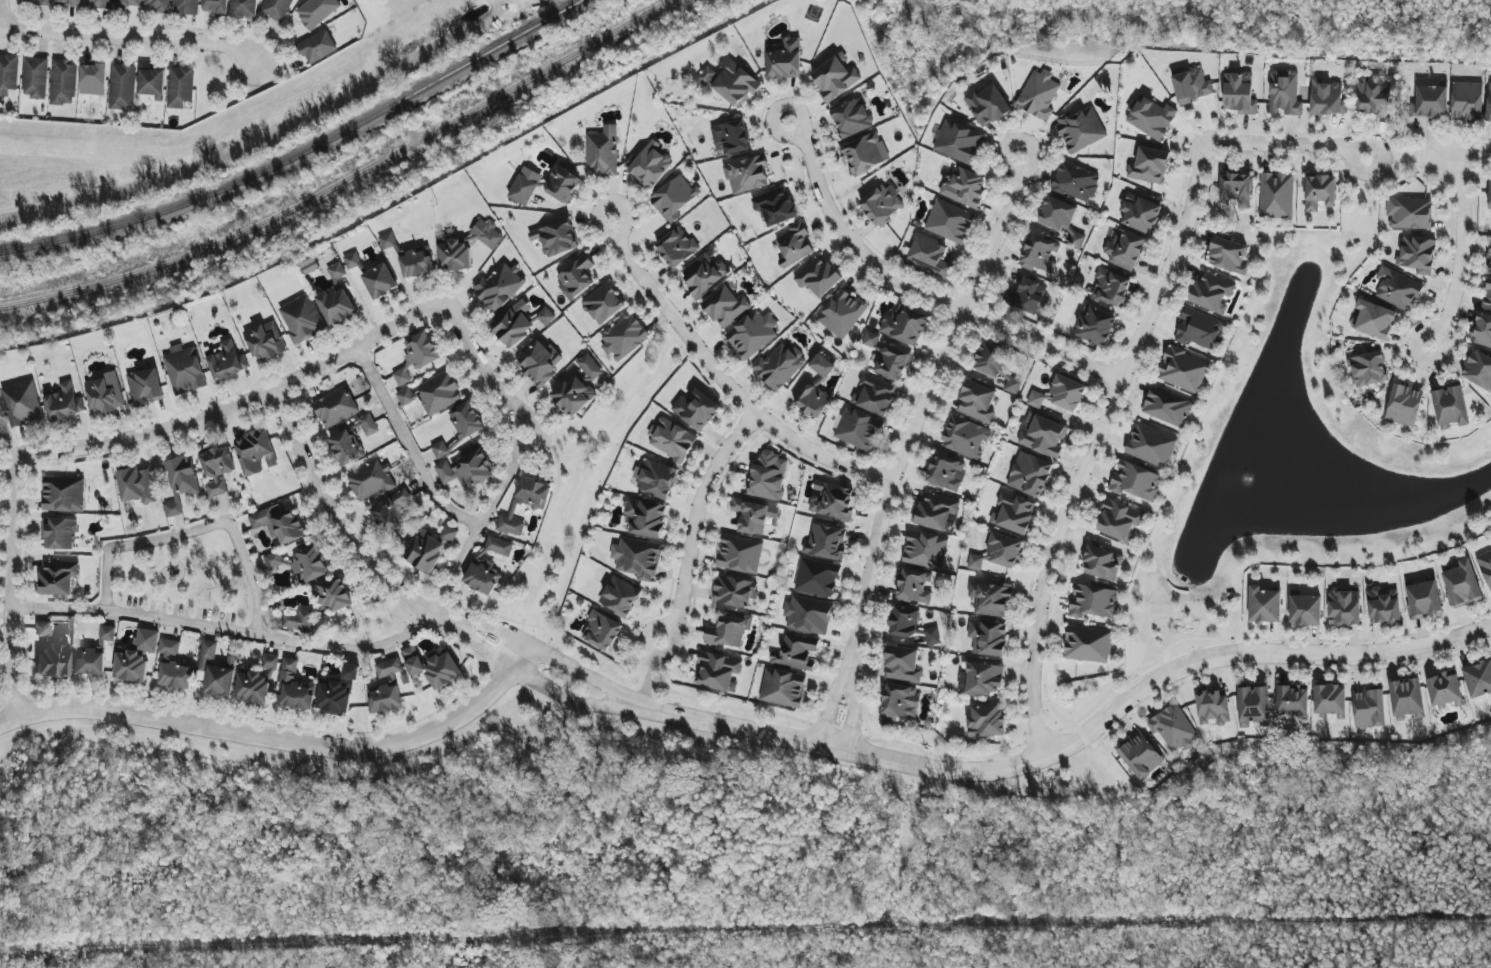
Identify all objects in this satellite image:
building: (40, 2)
building: (69, 3)
building: (128, 3)
building: (98, 4)
building: (158, 5)
building: (186, 7)
building: (216, 7)
building: (244, 8)
building: (277, 9)
building: (316, 12)
road: (2, 13)
road: (129, 37)
building: (317, 47)
building: (784, 60)
building: (8, 74)
building: (835, 77)
building: (35, 78)
building: (93, 79)
building: (731, 82)
building: (63, 83)
building: (152, 83)
building: (122, 86)
building: (1191, 86)
building: (180, 87)
building: (1284, 93)
building: (1239, 94)
building: (1038, 95)
building: (1373, 97)
building: (1327, 98)
building: (1430, 102)
building: (1466, 102)
building: (1488, 103)
building: (987, 105)
road: (796, 106)
building: (1152, 118)
building: (851, 119)
building: (1081, 130)
building: (732, 136)
building: (959, 142)
road: (1289, 145)
road: (1473, 150)
building: (602, 152)
railway: (303, 154)
building: (862, 154)
road: (1004, 154)
road: (1450, 158)
building: (651, 165)
building: (1149, 166)
building: (747, 175)
railway: (344, 177)
building: (1076, 182)
building: (561, 184)
building: (525, 186)
building: (965, 188)
building: (1236, 189)
building: (1319, 192)
building: (1276, 196)
building: (674, 198)
building: (1489, 198)
building: (882, 204)
building: (774, 206)
building: (1140, 212)
building: (1409, 213)
building: (1057, 214)
road: (597, 215)
building: (949, 222)
building: (486, 234)
building: (555, 238)
building: (1076, 240)
building: (794, 243)
building: (676, 247)
building: (1125, 248)
building: (1417, 254)
building: (928, 255)
building: (1040, 255)
building: (454, 256)
building: (1229, 256)
road: (1459, 256)
building: (1489, 261)
building: (353, 262)
building: (309, 266)
building: (703, 274)
building: (818, 276)
building: (576, 277)
building: (379, 281)
building: (497, 287)
building: (1110, 287)
building: (1397, 289)
road: (922, 292)
building: (1211, 292)
building: (1487, 297)
building: (336, 298)
building: (603, 304)
building: (726, 305)
building: (842, 313)
building: (545, 316)
building: (301, 319)
building: (1374, 320)
building: (514, 323)
building: (905, 326)
building: (1095, 326)
building: (1199, 329)
building: (1482, 331)
building: (752, 334)
building: (624, 337)
building: (265, 341)
building: (420, 351)
building: (889, 358)
building: (226, 361)
building: (539, 363)
building: (997, 365)
building: (779, 366)
building: (1367, 369)
building: (1182, 370)
building: (1478, 370)
building: (185, 371)
road: (487, 371)
building: (401, 377)
road: (726, 385)
building: (145, 387)
building: (579, 388)
building: (814, 388)
building: (438, 393)
building: (1067, 393)
building: (104, 394)
building: (874, 395)
building: (405, 396)
building: (1036, 399)
road: (922, 401)
building: (977, 402)
building: (64, 403)
building: (22, 404)
building: (1404, 404)
building: (1167, 407)
building: (335, 408)
building: (1450, 408)
building: (696, 410)
building: (466, 420)
building: (368, 425)
building: (857, 429)
building: (1044, 437)
building: (965, 438)
building: (671, 440)
road: (1091, 443)
road: (407, 444)
building: (1150, 445)
road: (114, 446)
building: (347, 448)
building: (439, 450)
building: (255, 452)
building: (467, 468)
building: (217, 470)
building: (946, 472)
building: (1030, 475)
building: (769, 476)
fountain: (1252, 477)
building: (655, 478)
building: (371, 480)
building: (1135, 482)
building: (181, 483)
building: (136, 486)
building: (63, 494)
building: (832, 501)
building: (525, 504)
building: (936, 511)
building: (392, 513)
building: (1013, 513)
building: (753, 516)
building: (645, 518)
building: (1118, 520)
building: (279, 522)
road: (694, 522)
road: (338, 524)
road: (194, 530)
building: (59, 534)
building: (448, 534)
building: (826, 542)
building: (498, 546)
building: (925, 550)
building: (1004, 551)
building: (425, 552)
building: (740, 554)
building: (637, 558)
building: (975, 562)
building: (1100, 562)
building: (300, 564)
building: (1485, 567)
building: (483, 576)
building: (59, 578)
building: (817, 578)
building: (1462, 584)
building: (914, 587)
building: (734, 591)
building: (334, 594)
building: (620, 597)
building: (990, 599)
building: (1423, 599)
building: (1093, 602)
building: (1264, 605)
building: (1383, 606)
building: (1344, 608)
building: (1304, 609)
building: (808, 615)
building: (296, 620)
building: (904, 622)
building: (601, 631)
building: (729, 631)
building: (107, 633)
building: (932, 637)
building: (988, 638)
building: (1087, 644)
building: (169, 647)
road: (325, 648)
building: (795, 652)
building: (51, 653)
building: (207, 654)
building: (136, 656)
building: (413, 661)
building: (88, 662)
building: (270, 662)
road: (567, 665)
building: (902, 665)
building: (441, 668)
building: (720, 672)
building: (176, 675)
building: (984, 679)
building: (1478, 679)
building: (220, 681)
building: (252, 686)
building: (295, 688)
building: (387, 688)
building: (782, 688)
building: (1444, 690)
building: (338, 692)
road: (557, 692)
road: (832, 693)
road: (851, 697)
building: (1292, 699)
building: (1407, 699)
building: (1330, 700)
building: (899, 703)
building: (1253, 706)
building: (1213, 707)
building: (1369, 708)
building: (986, 721)
road: (1090, 724)
building: (1172, 728)
road: (279, 736)
building: (1140, 756)

